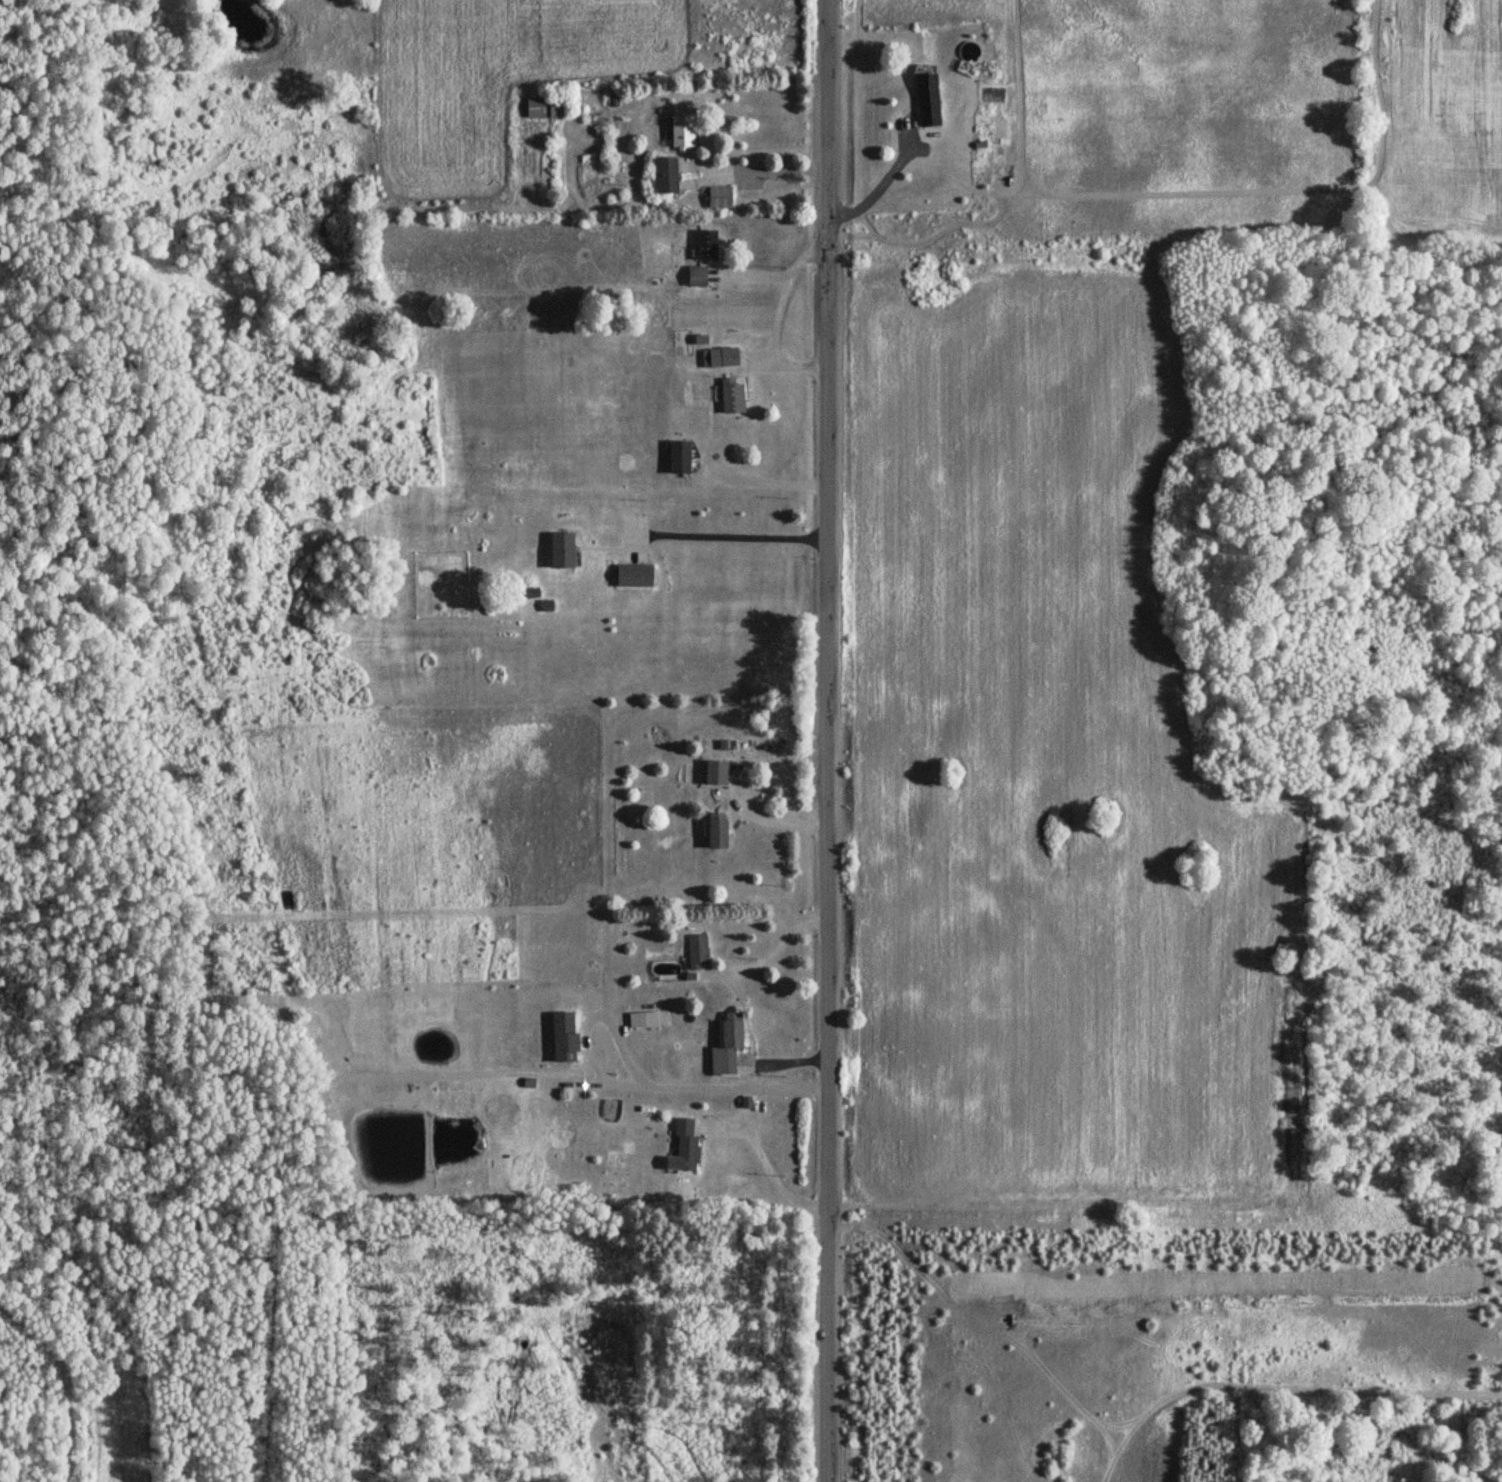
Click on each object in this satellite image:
building: (925, 96)
building: (542, 107)
building: (677, 131)
building: (660, 174)
building: (716, 197)
building: (703, 244)
building: (693, 276)
building: (718, 357)
building: (730, 396)
building: (675, 456)
building: (556, 549)
building: (629, 575)
road: (825, 741)
building: (713, 772)
building: (713, 830)
building: (695, 951)
building: (641, 1019)
building: (561, 1036)
building: (724, 1043)
road: (704, 1088)
building: (682, 1145)

